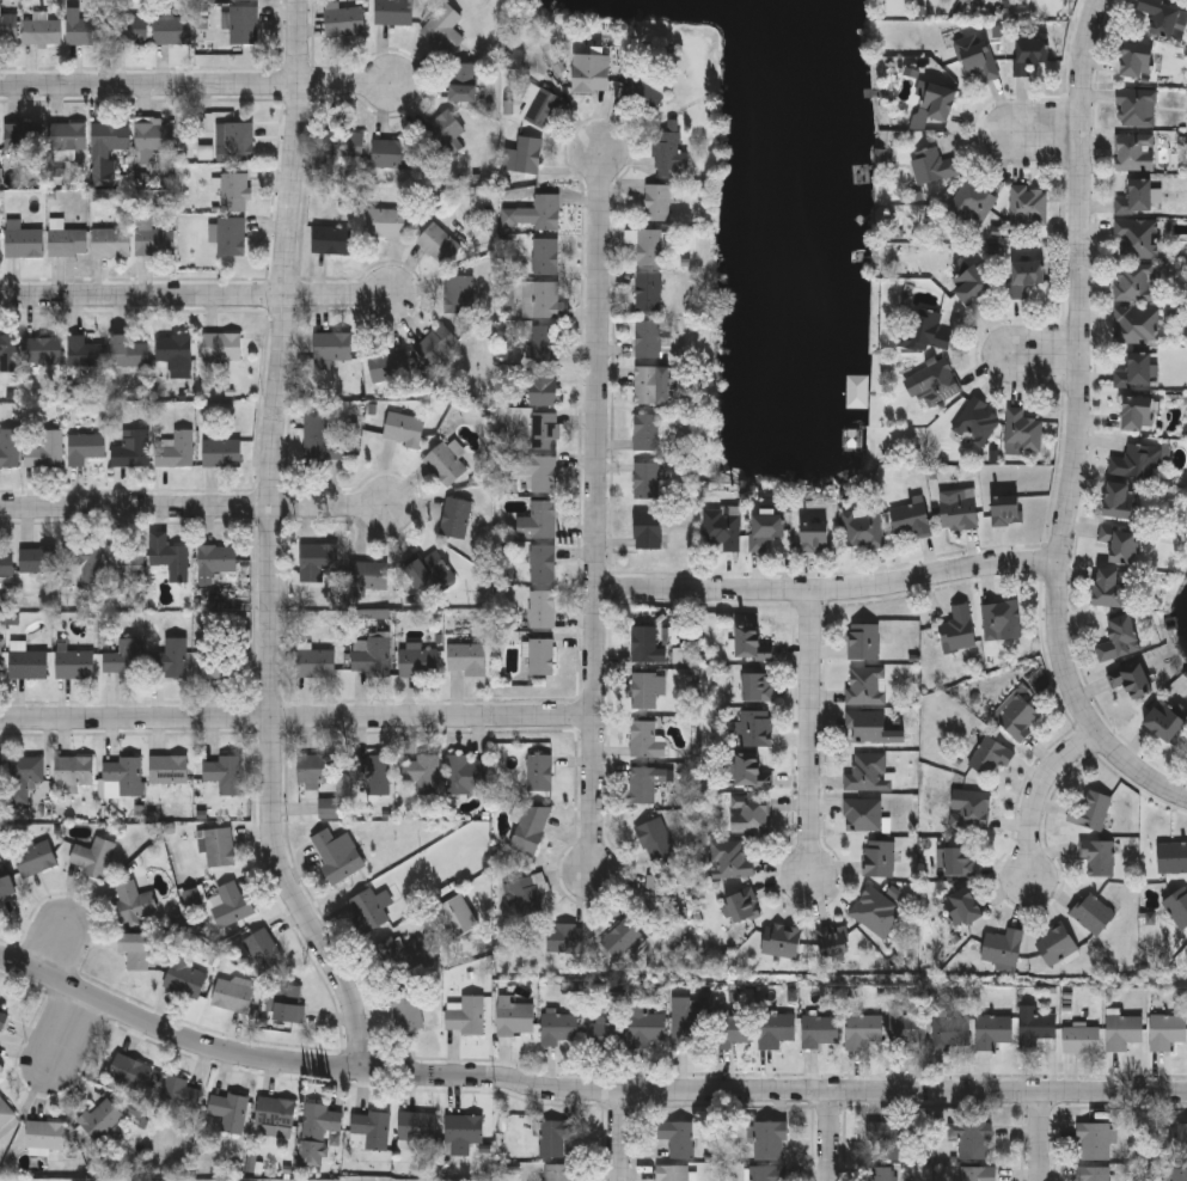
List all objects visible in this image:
building: (245, 1)
building: (393, 12)
building: (1162, 16)
building: (344, 20)
building: (243, 24)
building: (8, 26)
building: (443, 27)
building: (129, 29)
building: (172, 29)
building: (41, 30)
building: (84, 30)
building: (1029, 53)
building: (975, 55)
building: (513, 57)
building: (1137, 60)
building: (591, 72)
building: (463, 81)
road: (198, 86)
building: (645, 90)
building: (940, 100)
building: (542, 106)
building: (1136, 106)
building: (443, 131)
building: (23, 135)
building: (66, 135)
building: (110, 135)
road: (1046, 135)
building: (152, 137)
building: (234, 140)
building: (343, 145)
building: (668, 151)
building: (1134, 151)
building: (393, 152)
building: (526, 153)
building: (932, 164)
building: (233, 191)
building: (1136, 197)
building: (656, 201)
building: (972, 202)
building: (1028, 206)
building: (538, 212)
building: (385, 221)
building: (231, 235)
building: (152, 238)
building: (1137, 238)
building: (332, 239)
building: (22, 240)
building: (67, 241)
building: (111, 241)
building: (438, 243)
building: (648, 246)
building: (0, 247)
building: (545, 256)
building: (1024, 275)
building: (1134, 282)
building: (971, 284)
building: (648, 292)
building: (458, 294)
road: (195, 296)
building: (543, 300)
building: (1137, 325)
building: (926, 330)
building: (647, 338)
building: (436, 344)
building: (221, 347)
building: (330, 348)
building: (42, 349)
building: (85, 350)
building: (128, 351)
building: (175, 351)
building: (8, 353)
road: (1045, 356)
building: (543, 365)
building: (387, 366)
building: (1136, 371)
building: (932, 381)
building: (651, 385)
building: (1138, 414)
building: (977, 420)
road: (1078, 424)
building: (403, 428)
building: (545, 430)
building: (1023, 430)
building: (645, 432)
building: (319, 441)
building: (8, 447)
building: (84, 447)
building: (130, 448)
building: (45, 449)
building: (175, 451)
building: (221, 452)
building: (1137, 460)
building: (445, 464)
building: (533, 471)
building: (645, 481)
building: (1119, 500)
road: (196, 508)
building: (957, 508)
building: (1005, 510)
road: (598, 515)
building: (454, 516)
building: (538, 519)
building: (911, 519)
building: (721, 525)
building: (862, 526)
building: (647, 528)
building: (766, 528)
building: (815, 536)
building: (1121, 543)
road: (273, 545)
building: (318, 556)
building: (38, 557)
building: (167, 557)
building: (84, 561)
building: (123, 561)
building: (214, 561)
building: (539, 561)
building: (6, 564)
building: (368, 574)
building: (1110, 588)
road: (831, 589)
building: (542, 608)
building: (1001, 619)
building: (957, 628)
building: (1120, 638)
building: (863, 641)
building: (751, 643)
building: (645, 644)
building: (371, 653)
building: (540, 656)
building: (173, 657)
building: (124, 659)
building: (466, 659)
building: (0, 662)
building: (316, 662)
building: (418, 662)
building: (27, 663)
building: (74, 663)
building: (222, 663)
building: (1131, 679)
building: (865, 685)
building: (758, 686)
building: (649, 692)
building: (1016, 714)
road: (298, 717)
building: (1164, 721)
building: (870, 727)
building: (757, 728)
road: (814, 735)
building: (644, 740)
building: (987, 753)
building: (169, 769)
building: (73, 770)
building: (317, 771)
building: (375, 771)
building: (422, 772)
building: (539, 772)
building: (749, 772)
building: (867, 772)
building: (225, 773)
building: (24, 775)
building: (465, 775)
building: (122, 776)
building: (0, 781)
building: (644, 783)
road: (1039, 793)
building: (969, 809)
building: (1090, 810)
building: (749, 814)
building: (862, 814)
building: (530, 828)
building: (654, 838)
building: (218, 846)
building: (336, 853)
building: (92, 856)
building: (1097, 856)
building: (1173, 856)
building: (879, 857)
building: (35, 858)
building: (729, 858)
building: (960, 861)
building: (7, 888)
building: (657, 893)
building: (525, 894)
building: (133, 901)
building: (232, 904)
building: (742, 904)
building: (963, 905)
building: (1177, 906)
building: (368, 907)
building: (876, 911)
building: (1091, 912)
building: (457, 916)
building: (564, 938)
building: (781, 938)
building: (623, 940)
building: (833, 940)
building: (1057, 943)
building: (135, 948)
building: (263, 948)
building: (1003, 948)
road: (53, 949)
building: (403, 955)
building: (184, 978)
building: (238, 996)
building: (286, 1001)
building: (408, 1009)
building: (465, 1014)
building: (2, 1016)
building: (514, 1017)
building: (905, 1024)
road: (71, 1026)
building: (559, 1026)
building: (647, 1026)
building: (686, 1028)
building: (732, 1028)
building: (777, 1028)
building: (822, 1028)
building: (865, 1028)
building: (1035, 1028)
building: (991, 1029)
building: (1167, 1029)
building: (1122, 1030)
building: (604, 1032)
building: (950, 1032)
building: (1082, 1039)
building: (129, 1073)
road: (582, 1093)
building: (177, 1094)
building: (228, 1109)
building: (5, 1110)
building: (275, 1114)
building: (102, 1118)
building: (415, 1126)
building: (371, 1127)
building: (464, 1127)
building: (317, 1131)
building: (45, 1133)
building: (555, 1136)
road: (622, 1137)
building: (675, 1137)
road: (831, 1137)
road: (1040, 1137)
building: (883, 1139)
building: (972, 1139)
building: (770, 1140)
building: (1094, 1140)
building: (1181, 1142)
building: (559, 1171)
building: (673, 1173)
building: (769, 1173)
building: (979, 1173)
building: (1094, 1173)
building: (879, 1174)
building: (1177, 1174)

